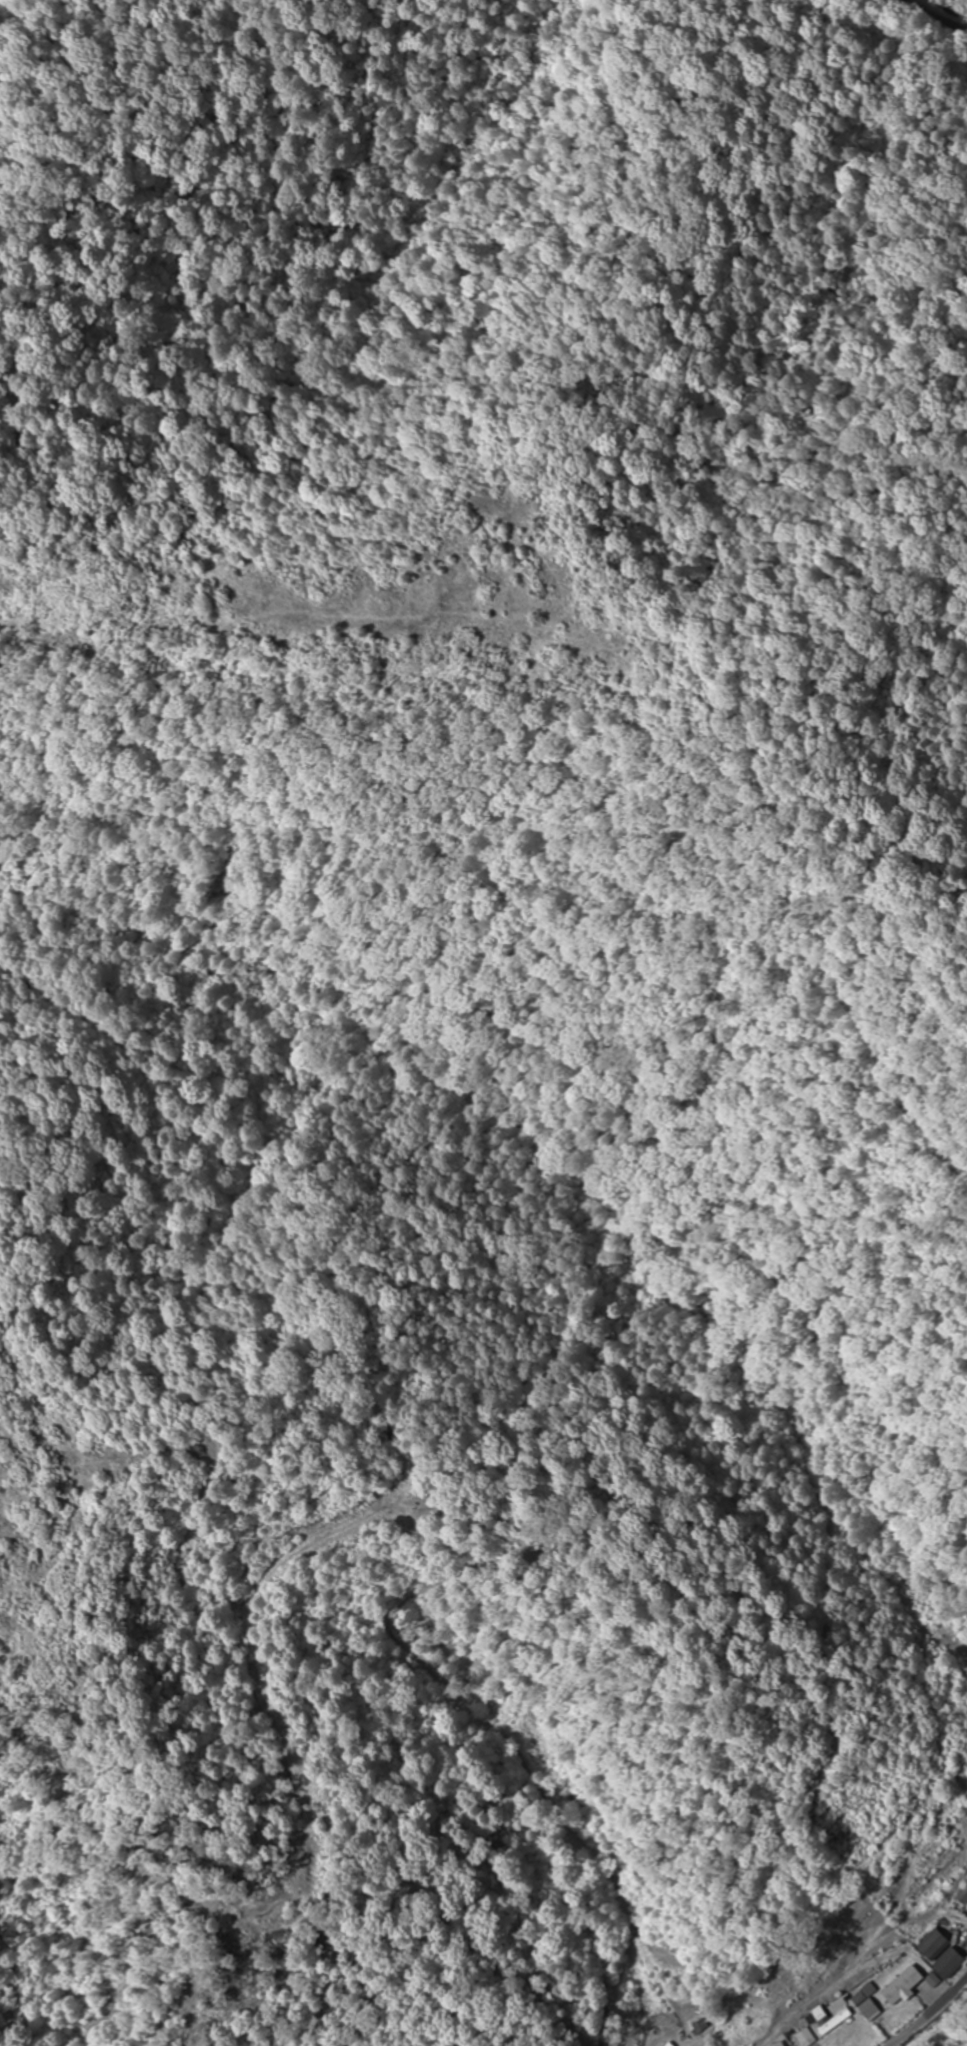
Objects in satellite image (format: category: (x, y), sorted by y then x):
road: (874, 52)
road: (963, 1942)
building: (940, 1955)
building: (898, 1986)
road: (896, 1990)
building: (865, 2002)
building: (826, 2021)
building: (804, 2038)
building: (665, 2044)
building: (771, 2045)

